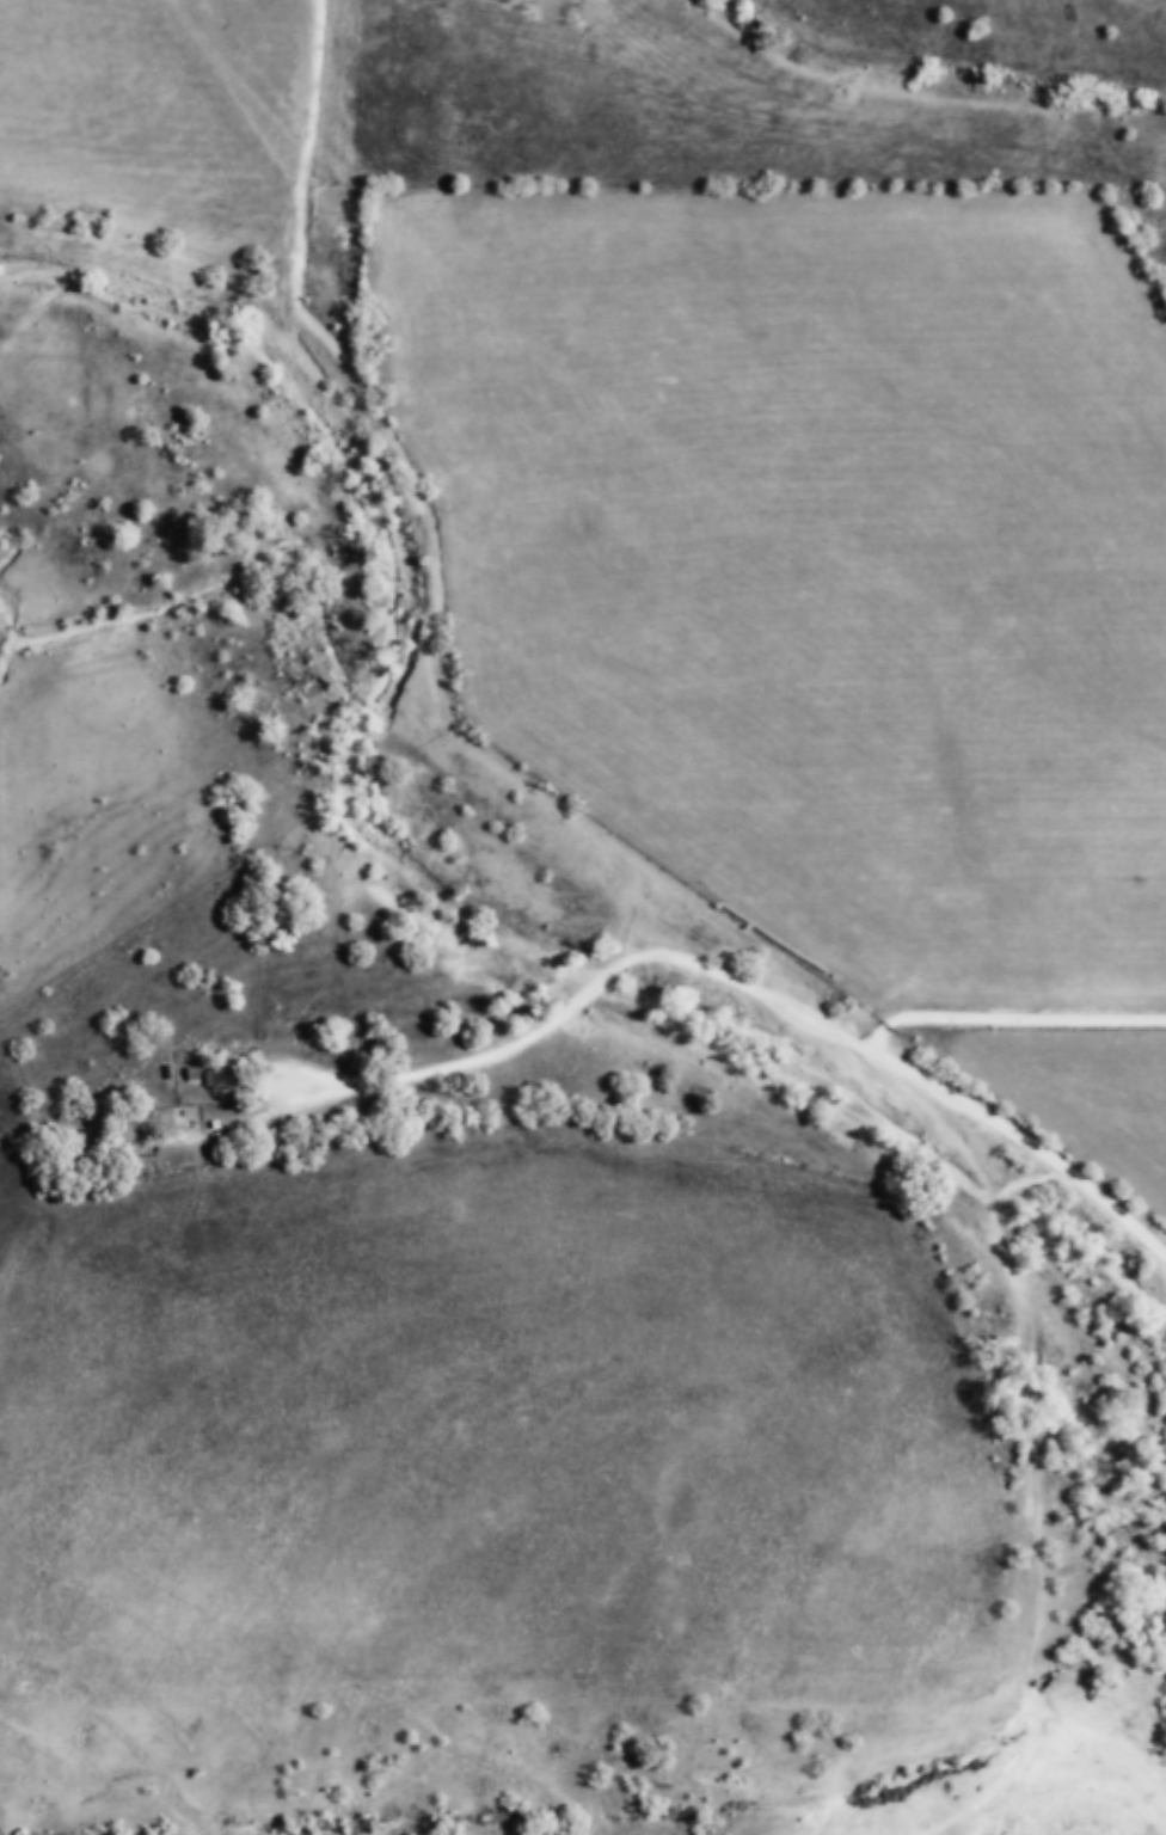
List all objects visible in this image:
road: (502, 761)
road: (524, 1044)
building: (225, 1079)
building: (139, 1131)
road: (1031, 1326)

